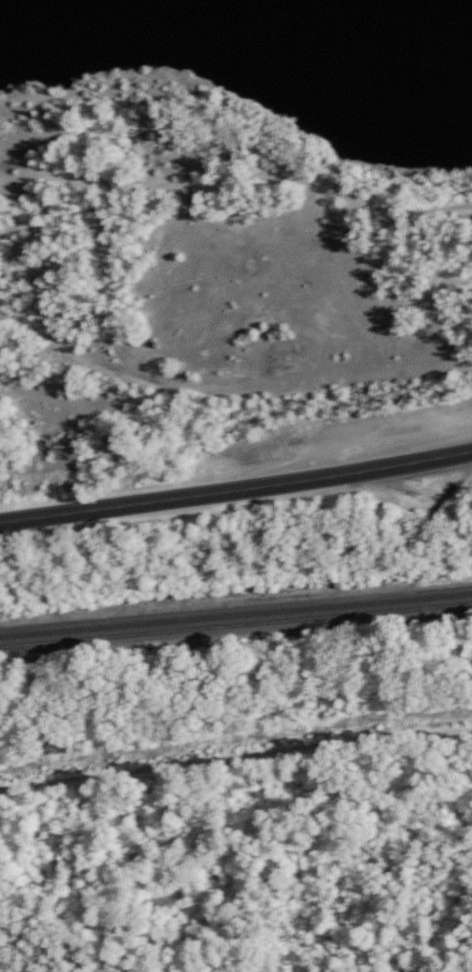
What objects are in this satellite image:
road: (236, 494)
railway: (235, 605)
railway: (235, 616)
road: (235, 743)

